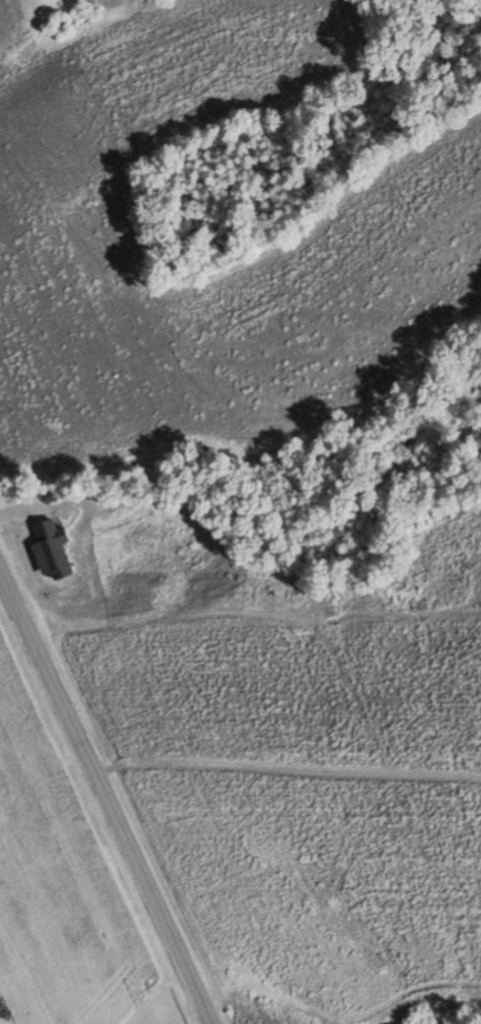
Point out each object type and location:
road: (105, 799)

